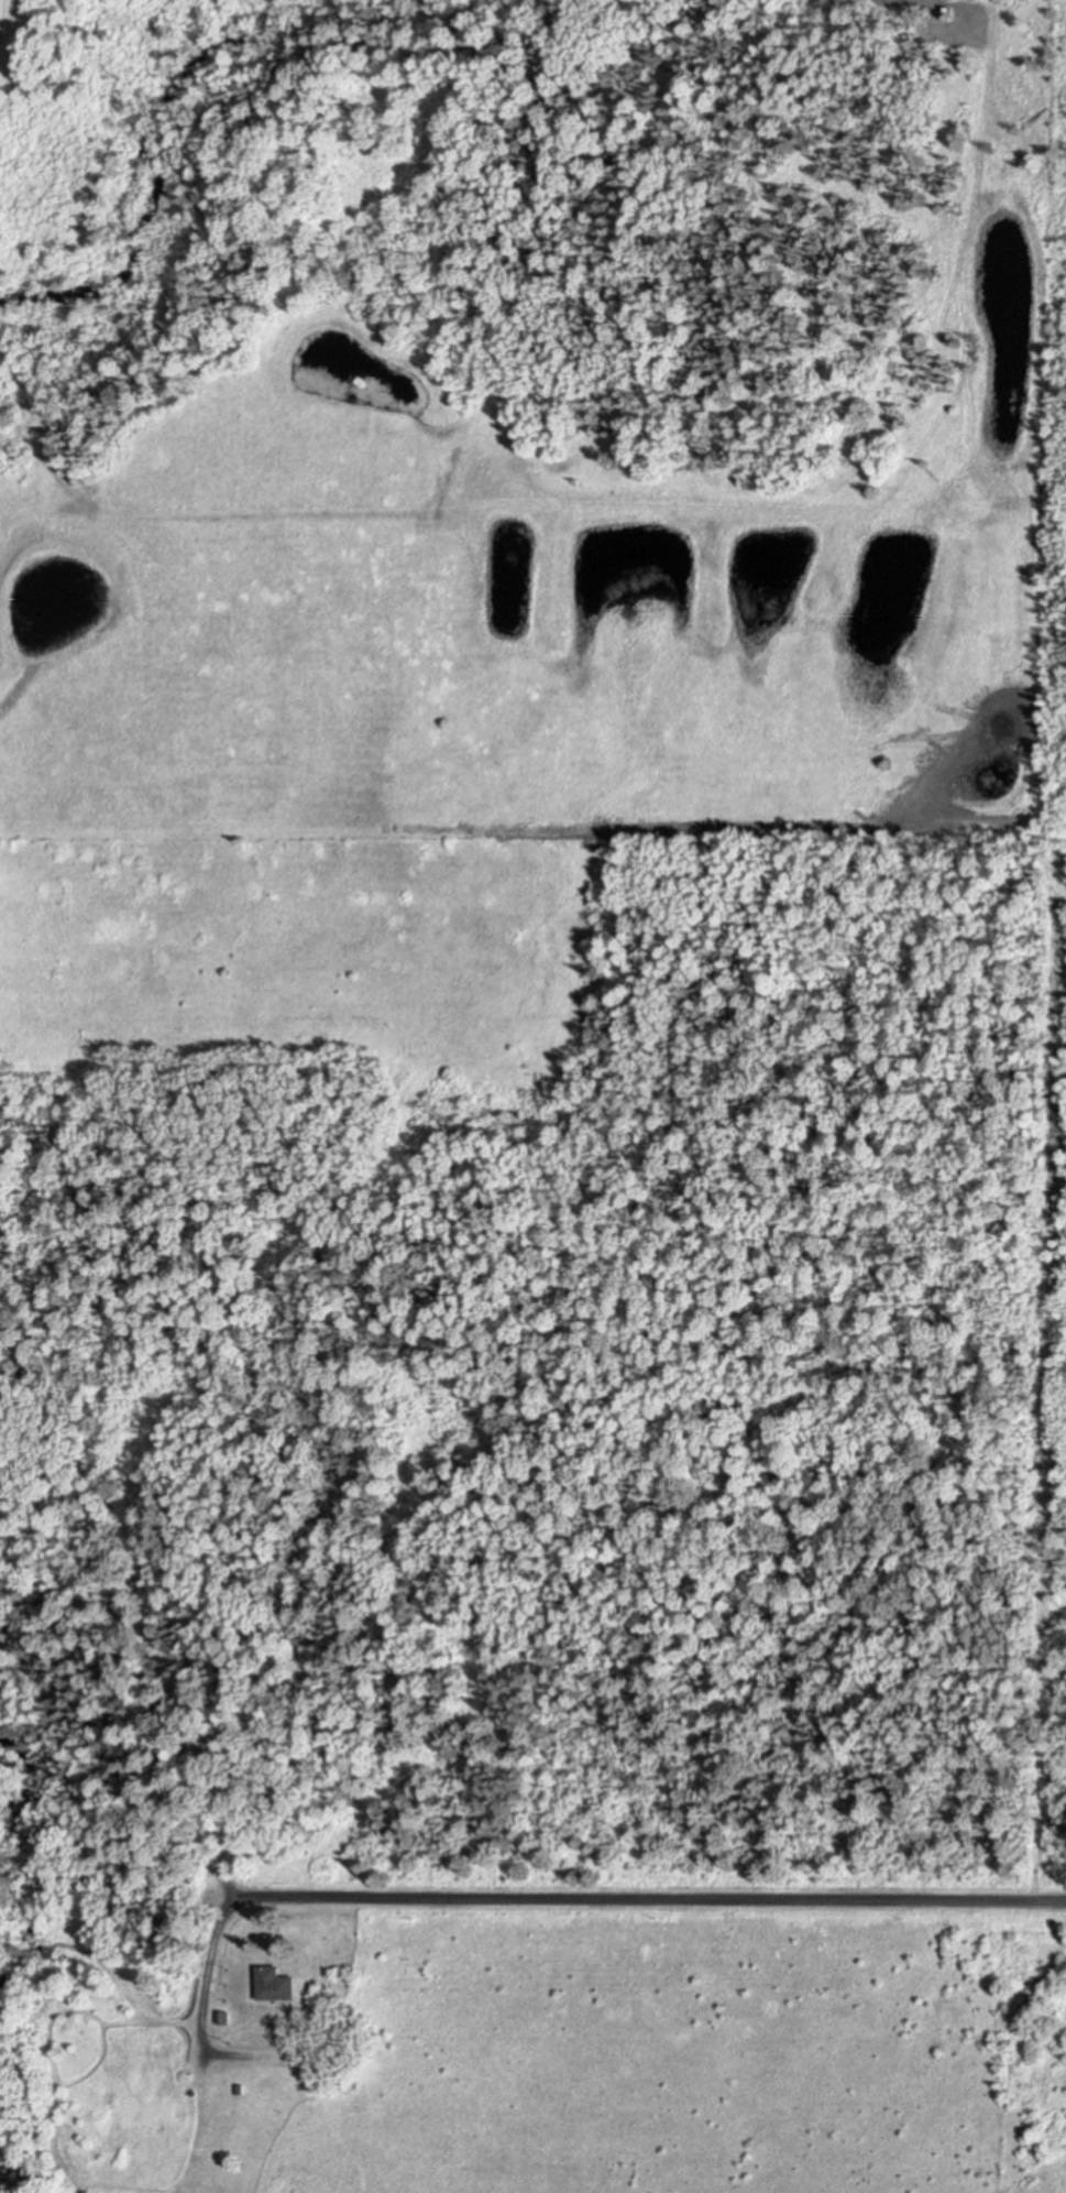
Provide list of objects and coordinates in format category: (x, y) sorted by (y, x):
river: (169, 188)
river: (63, 1877)
road: (649, 1900)
building: (277, 1984)
building: (227, 2018)
river: (19, 2170)

